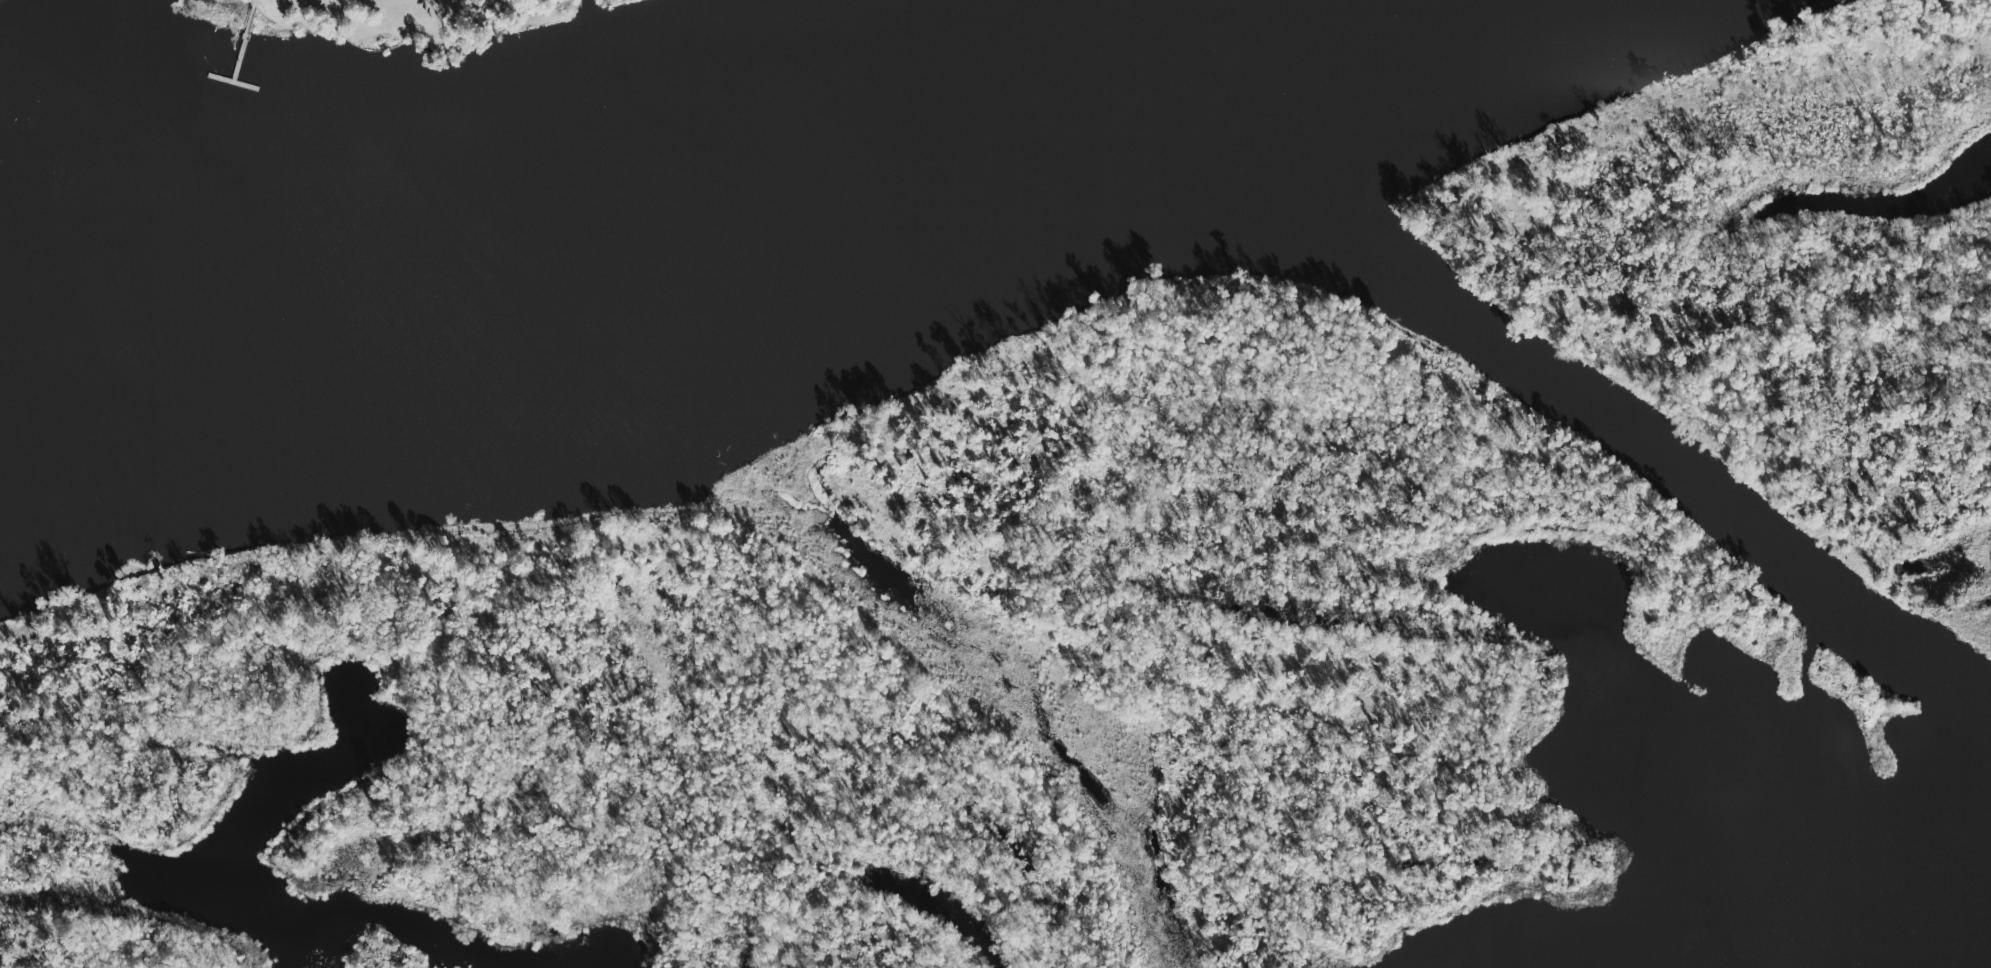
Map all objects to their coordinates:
road: (262, 12)
pier: (244, 42)
pier: (233, 80)
river: (722, 188)

